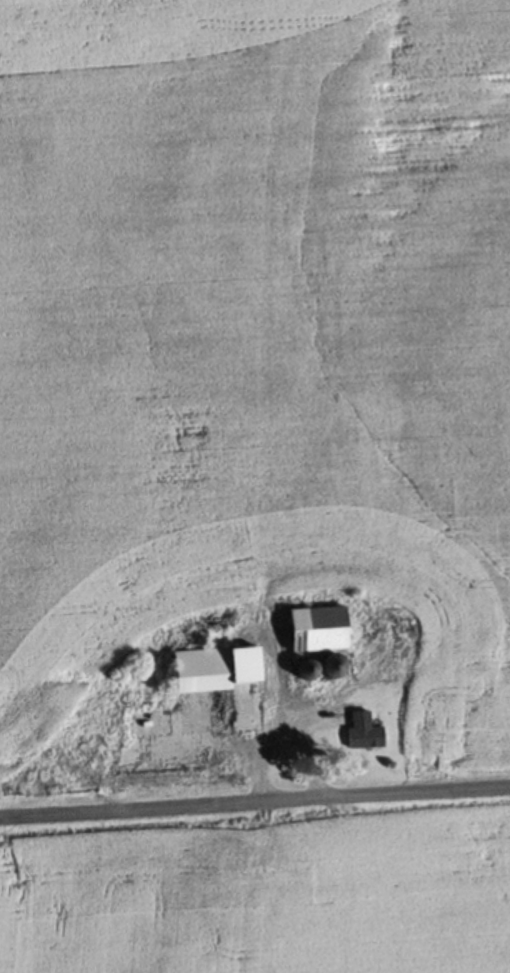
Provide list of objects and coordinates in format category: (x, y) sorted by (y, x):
building: (319, 637)
building: (227, 680)
road: (277, 721)
building: (148, 722)
building: (363, 729)
road: (254, 803)
crop: (262, 890)

